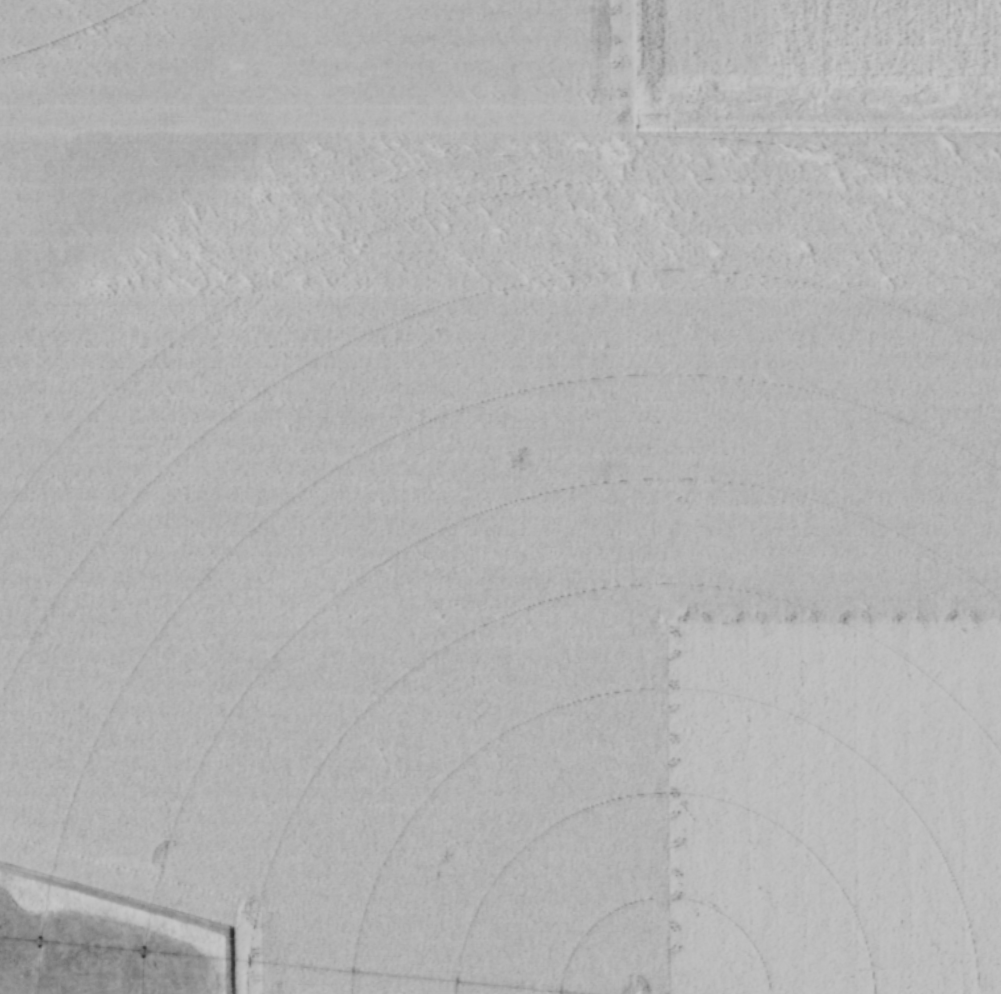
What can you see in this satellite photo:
crop: (818, 792)

